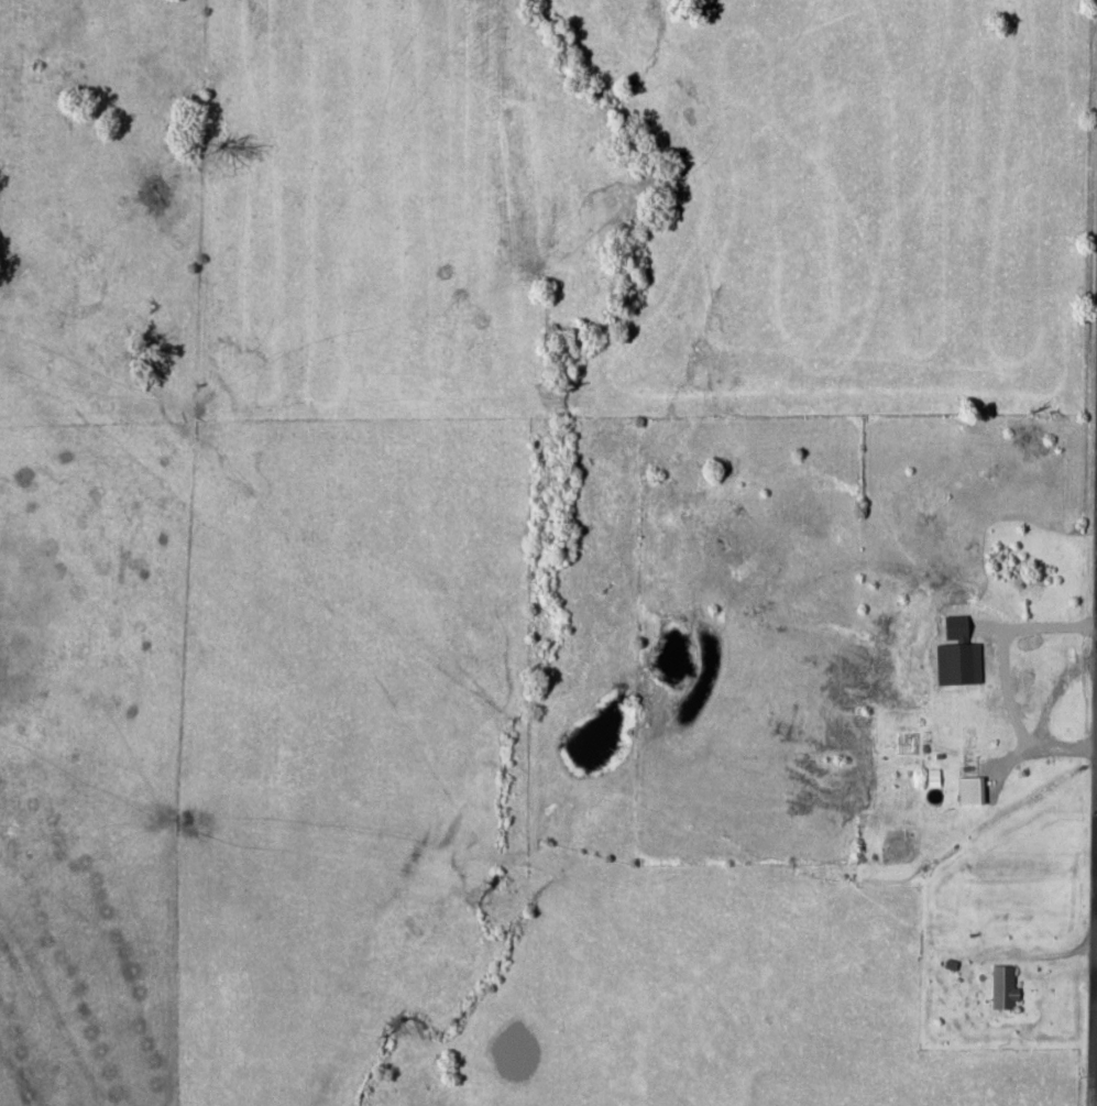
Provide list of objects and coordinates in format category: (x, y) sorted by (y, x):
building: (999, 707)
building: (863, 718)
building: (834, 736)
building: (970, 778)
building: (900, 843)
building: (1005, 979)

